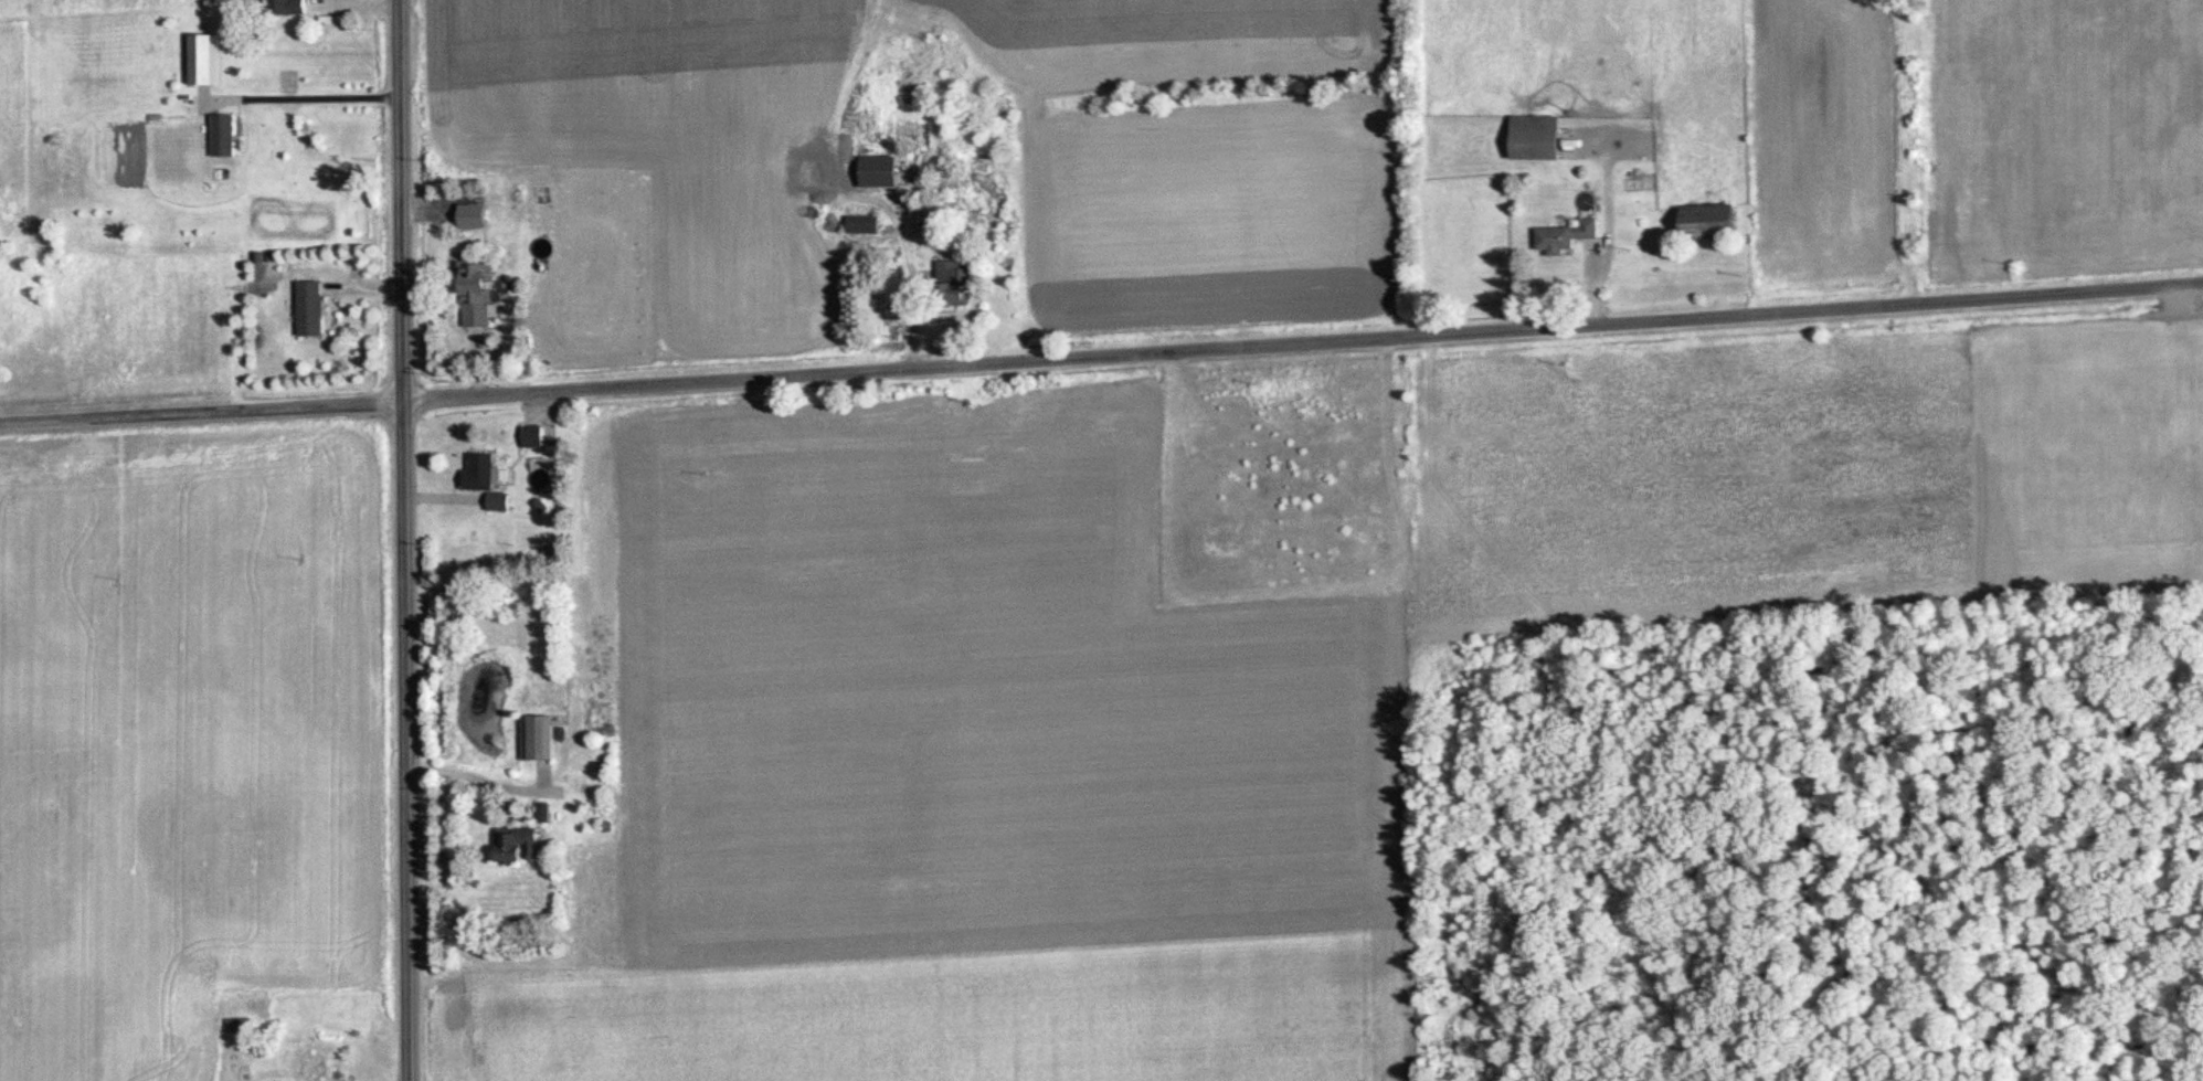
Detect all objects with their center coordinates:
building: (289, 8)
building: (202, 59)
road: (301, 96)
building: (225, 135)
building: (1537, 137)
building: (476, 216)
building: (1713, 222)
building: (866, 225)
building: (1565, 236)
building: (955, 282)
building: (478, 294)
building: (311, 308)
road: (1101, 358)
building: (533, 435)
building: (480, 470)
road: (403, 540)
building: (541, 738)
road: (476, 780)
building: (519, 845)
building: (239, 1025)

